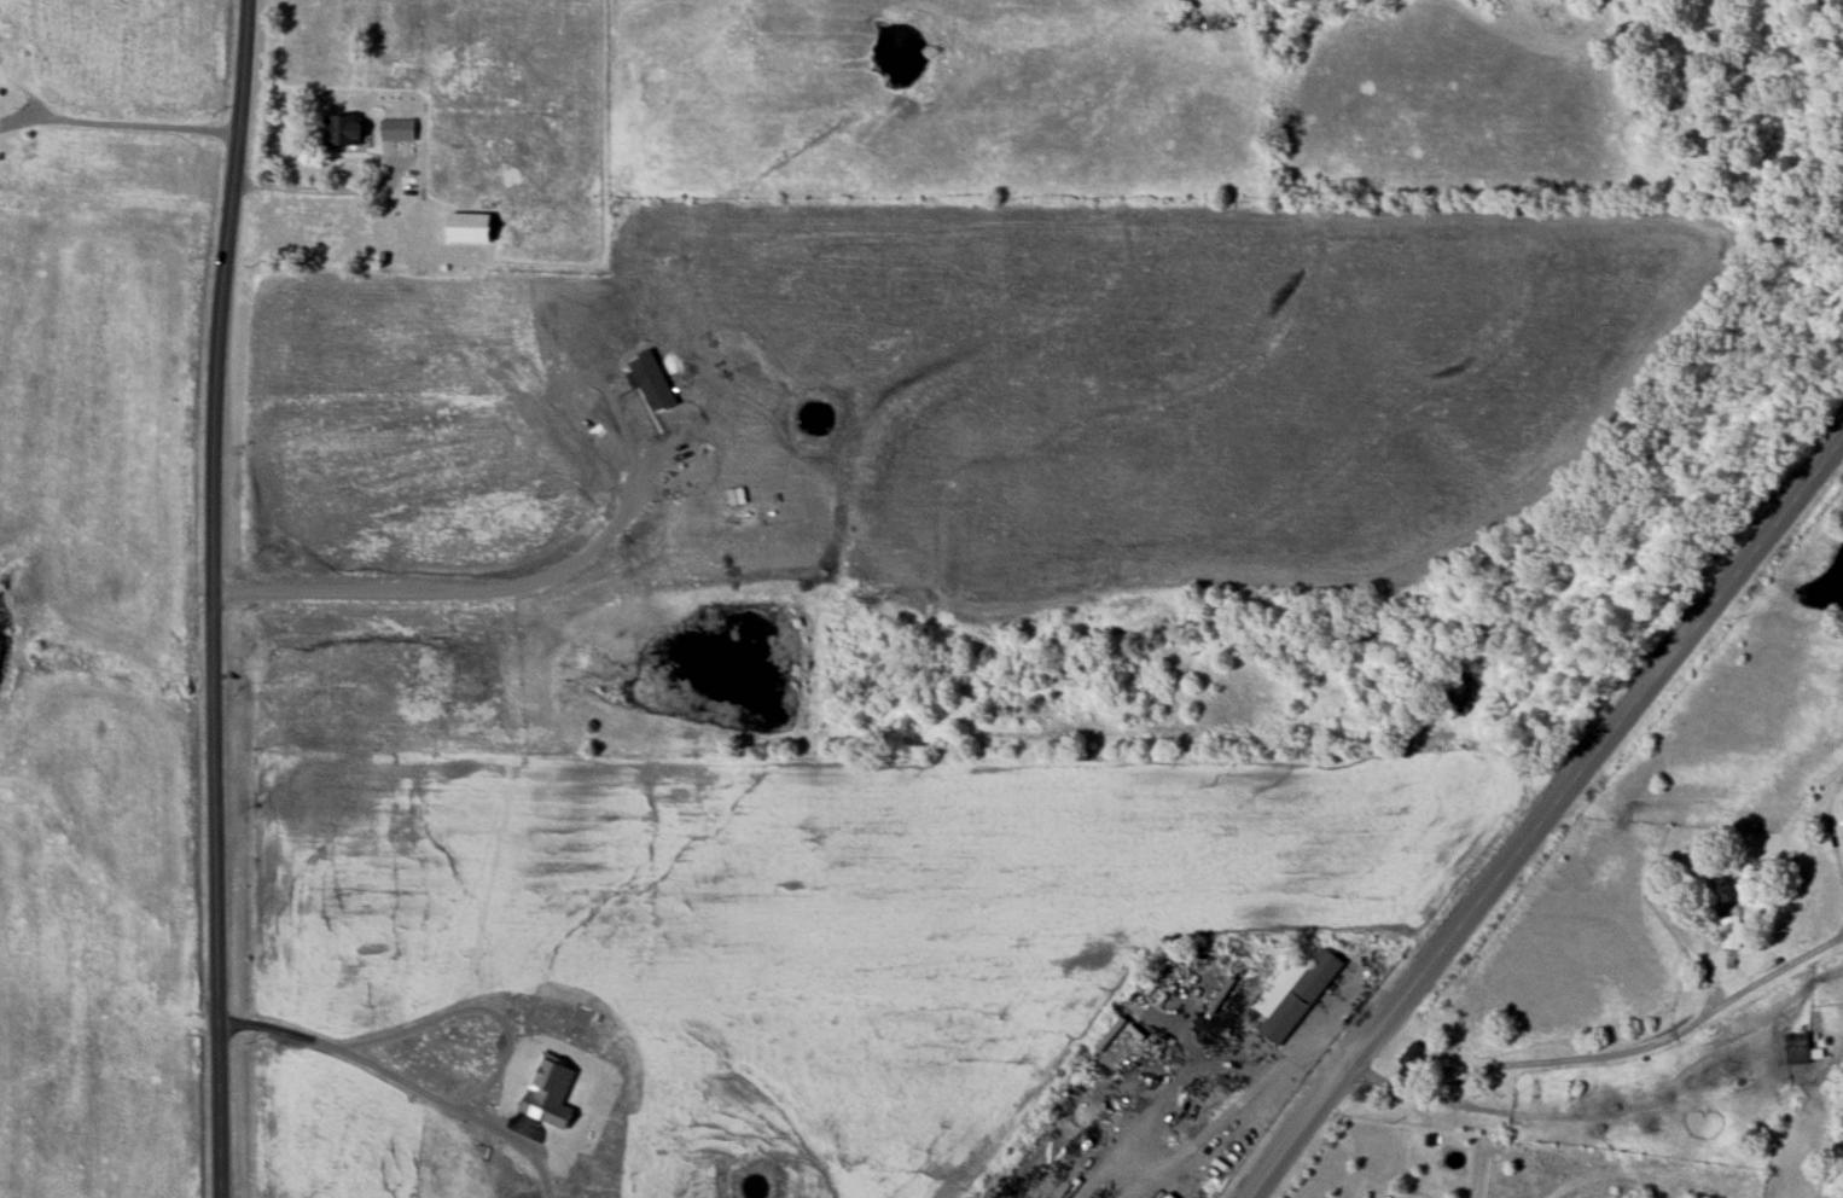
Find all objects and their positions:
building: (1, 45)
road: (143, 126)
building: (396, 129)
building: (343, 130)
building: (24, 144)
road: (320, 191)
building: (469, 227)
road: (211, 598)
road: (455, 598)
road: (1546, 818)
building: (1731, 925)
road: (1757, 984)
building: (1295, 994)
building: (1796, 1048)
road: (370, 1065)
road: (1510, 1065)
road: (1238, 1069)

